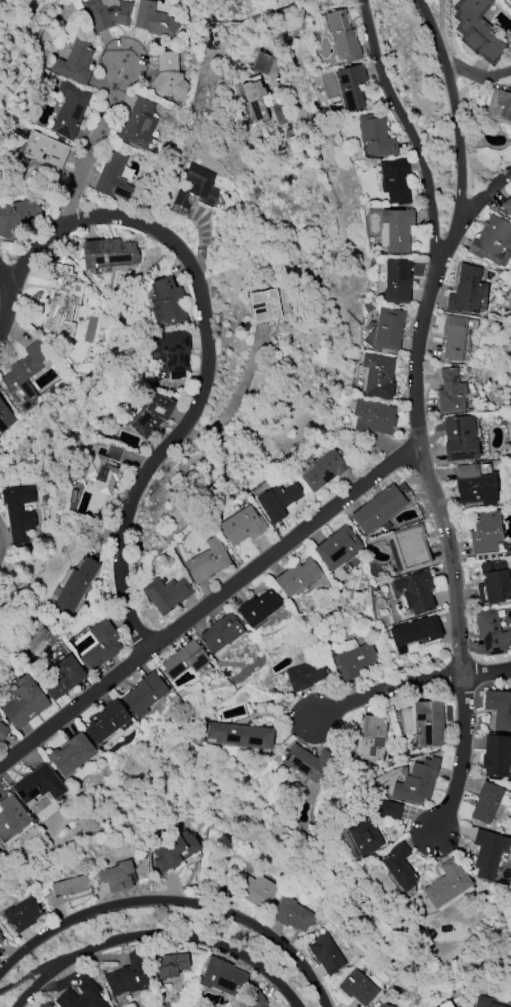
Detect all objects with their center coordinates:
building: (107, 13)
building: (153, 20)
road: (303, 26)
building: (477, 30)
building: (341, 36)
building: (75, 61)
building: (261, 63)
road: (476, 73)
building: (168, 75)
building: (351, 87)
building: (253, 100)
building: (499, 107)
building: (69, 110)
building: (138, 124)
building: (375, 136)
road: (414, 141)
road: (458, 144)
road: (92, 146)
building: (44, 151)
building: (113, 177)
building: (395, 181)
building: (197, 188)
road: (479, 199)
building: (507, 206)
building: (17, 216)
building: (396, 228)
building: (490, 240)
building: (108, 254)
building: (396, 280)
road: (4, 290)
building: (466, 290)
building: (168, 300)
building: (61, 302)
building: (264, 306)
building: (387, 329)
road: (206, 337)
building: (453, 337)
building: (172, 353)
road: (415, 364)
building: (25, 375)
building: (377, 376)
building: (450, 392)
building: (152, 415)
building: (372, 417)
building: (5, 418)
building: (460, 438)
building: (104, 469)
building: (324, 470)
road: (368, 479)
building: (474, 486)
building: (278, 501)
building: (379, 508)
building: (18, 513)
building: (242, 526)
building: (484, 533)
building: (410, 547)
building: (337, 548)
building: (207, 561)
building: (296, 577)
building: (493, 583)
building: (75, 586)
building: (415, 591)
building: (166, 594)
building: (259, 607)
building: (414, 632)
building: (219, 633)
building: (491, 633)
building: (100, 646)
building: (185, 660)
building: (354, 661)
building: (306, 675)
building: (61, 678)
road: (409, 683)
building: (145, 694)
building: (23, 703)
building: (499, 709)
building: (0, 718)
building: (106, 721)
building: (428, 722)
building: (3, 732)
building: (239, 735)
building: (372, 738)
building: (71, 754)
building: (494, 756)
building: (308, 762)
building: (417, 782)
building: (37, 784)
building: (485, 802)
building: (388, 810)
building: (11, 820)
building: (364, 837)
building: (175, 850)
building: (488, 853)
building: (399, 867)
building: (117, 877)
building: (445, 885)
building: (68, 890)
building: (255, 890)
road: (174, 901)
building: (292, 914)
building: (21, 915)
building: (507, 918)
road: (157, 934)
building: (0, 940)
building: (326, 954)
building: (168, 966)
road: (27, 974)
building: (127, 975)
building: (223, 978)
building: (358, 988)
building: (81, 997)
building: (255, 1000)
building: (486, 1002)
building: (45, 1004)
building: (445, 1004)
building: (384, 1005)

